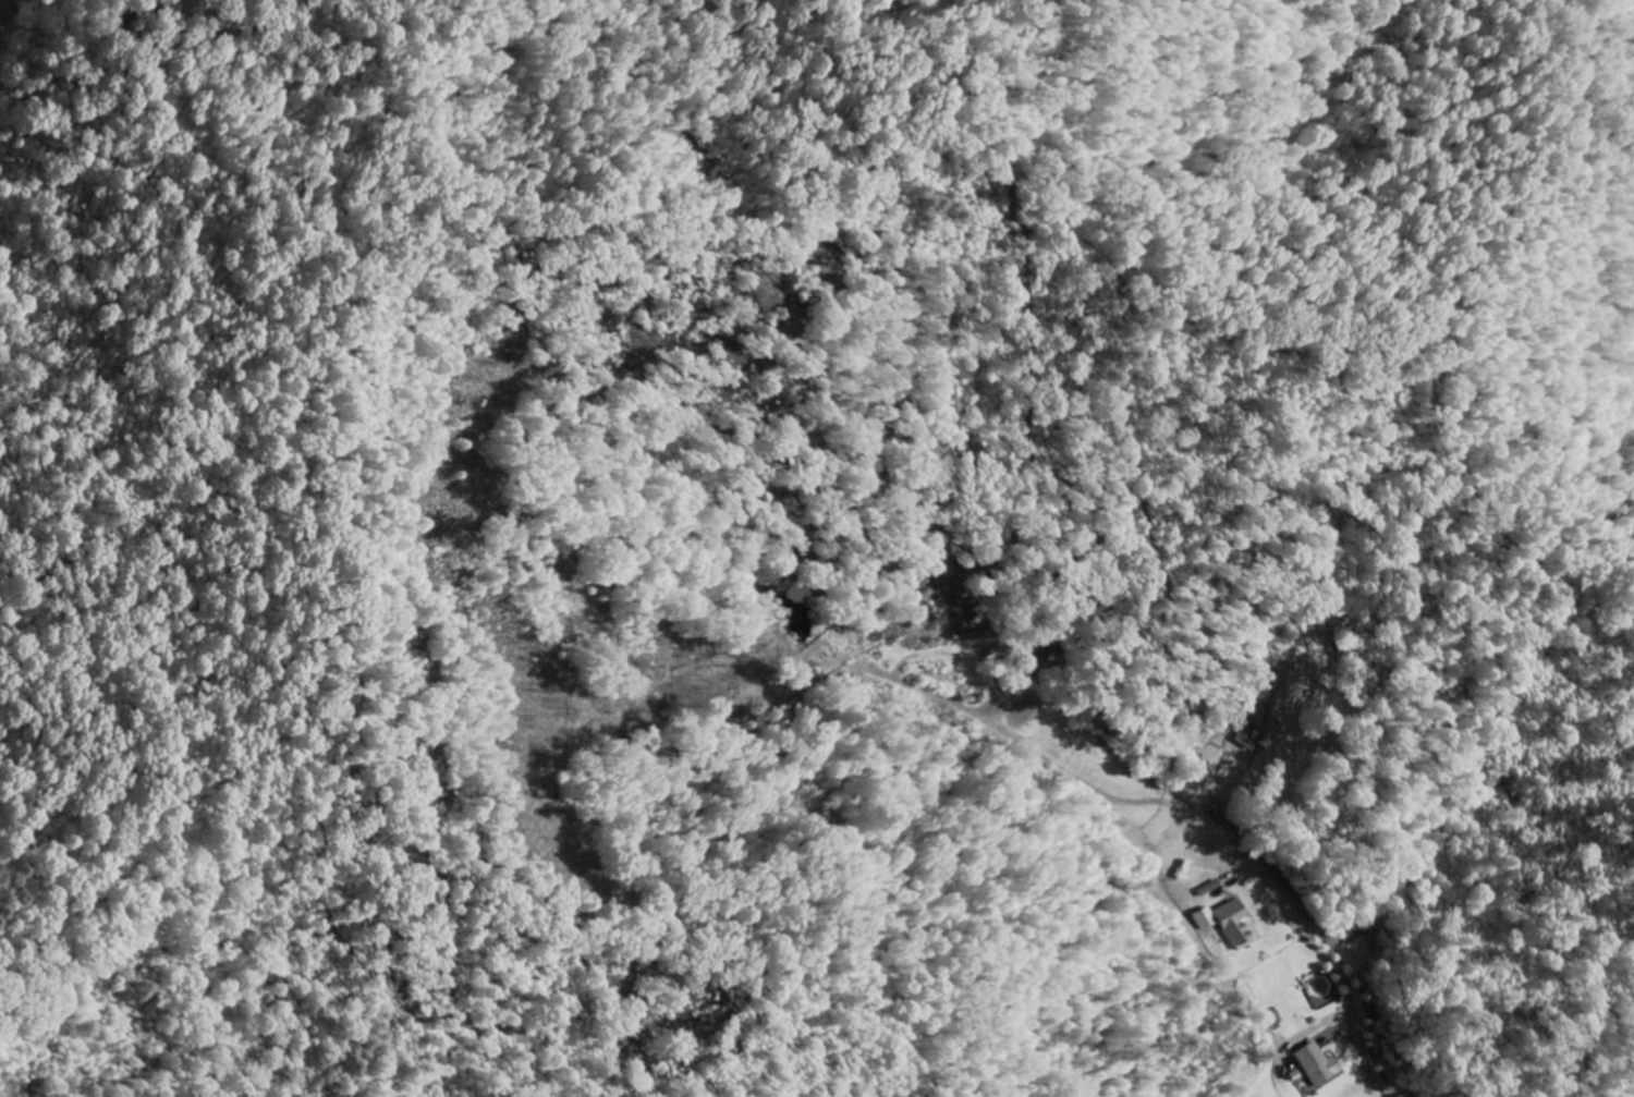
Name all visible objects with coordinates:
building: (1217, 888)
building: (1237, 923)
road: (1342, 971)
building: (1320, 1064)

